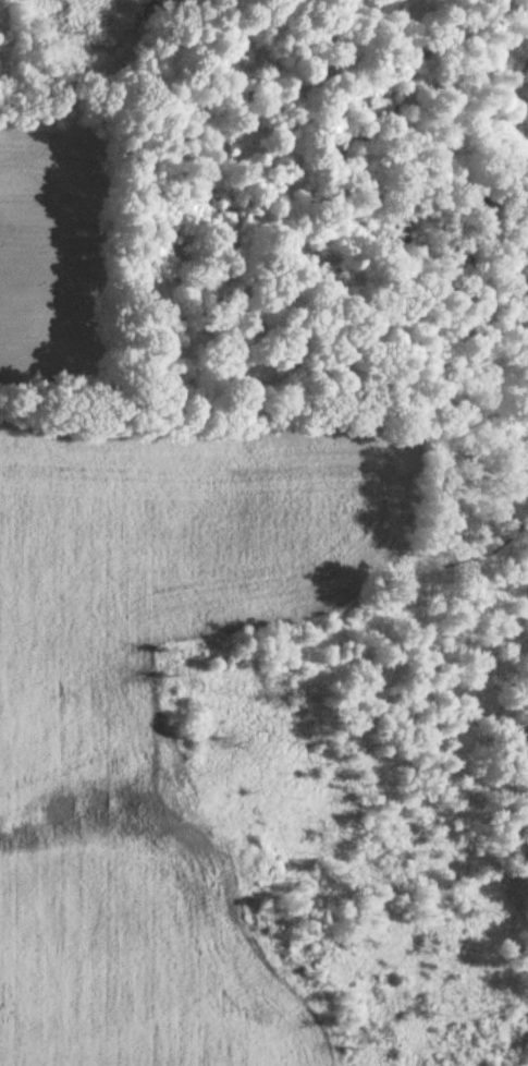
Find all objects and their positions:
crop: (53, 252)

